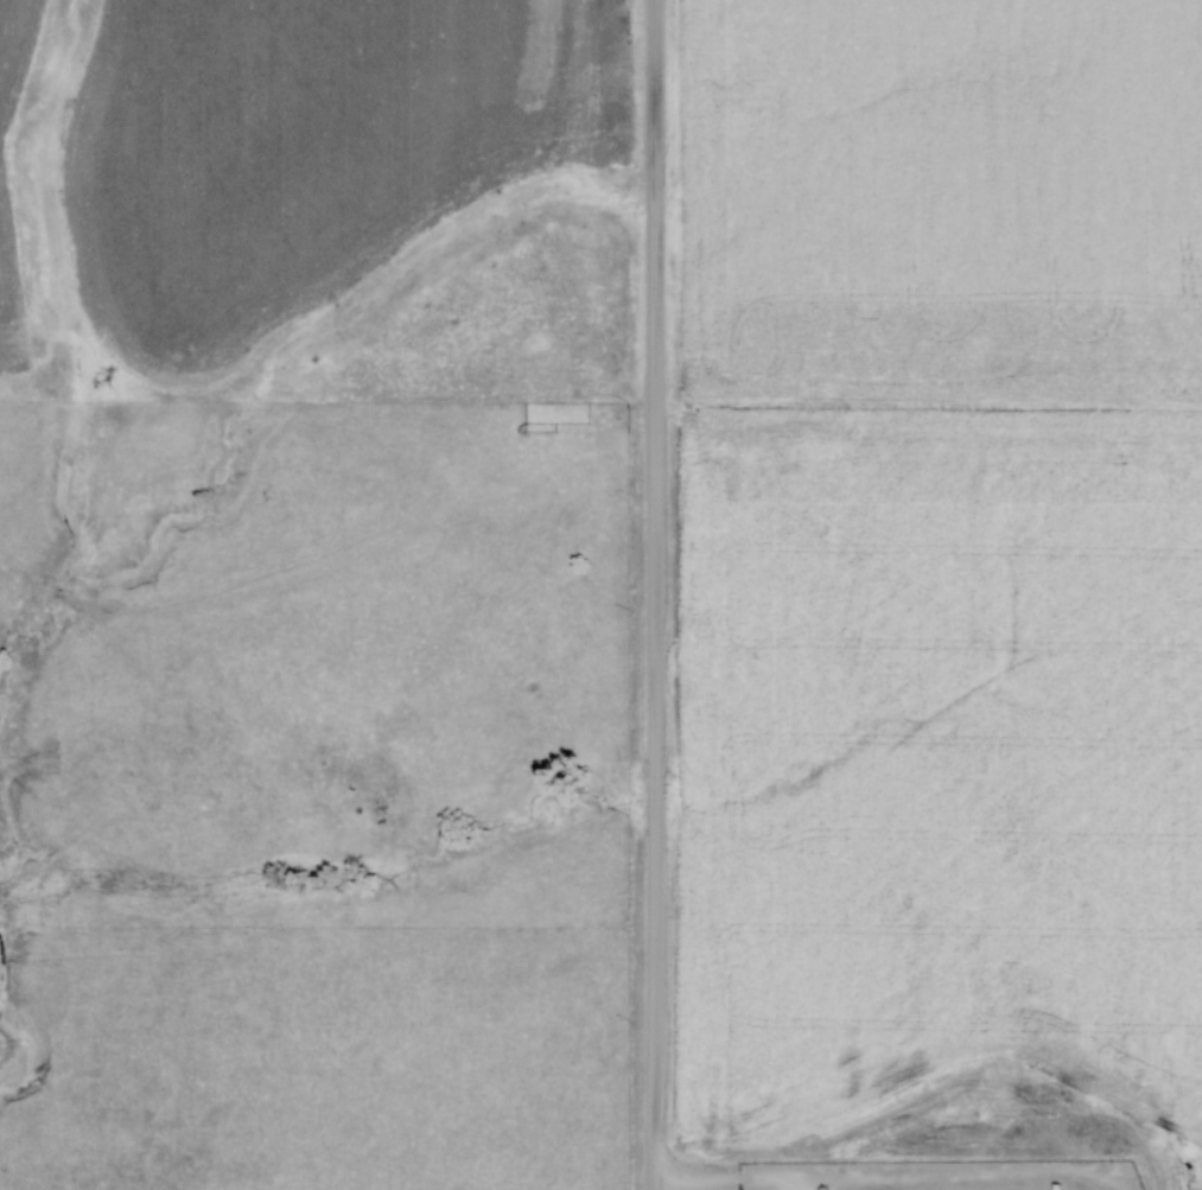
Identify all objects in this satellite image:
road: (650, 594)

